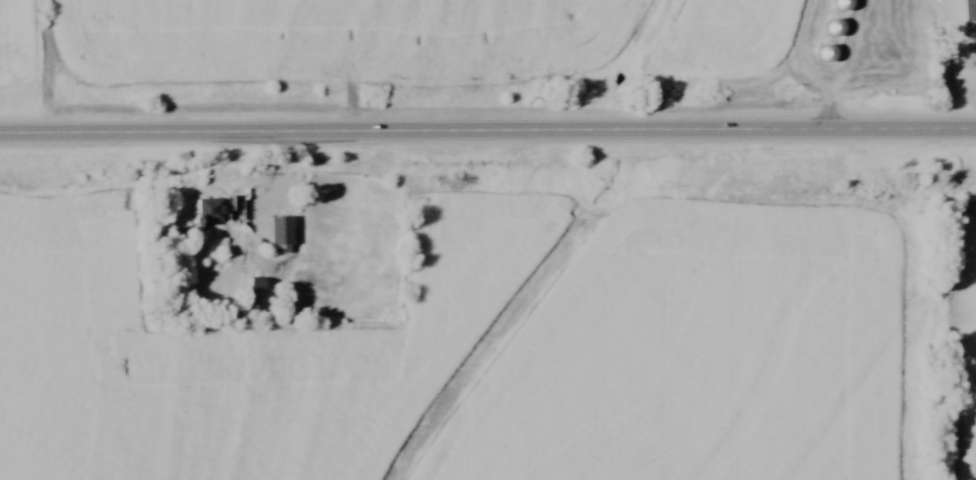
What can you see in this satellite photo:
building: (837, 27)
building: (971, 49)
building: (827, 53)
road: (488, 132)
building: (213, 208)
building: (282, 233)

